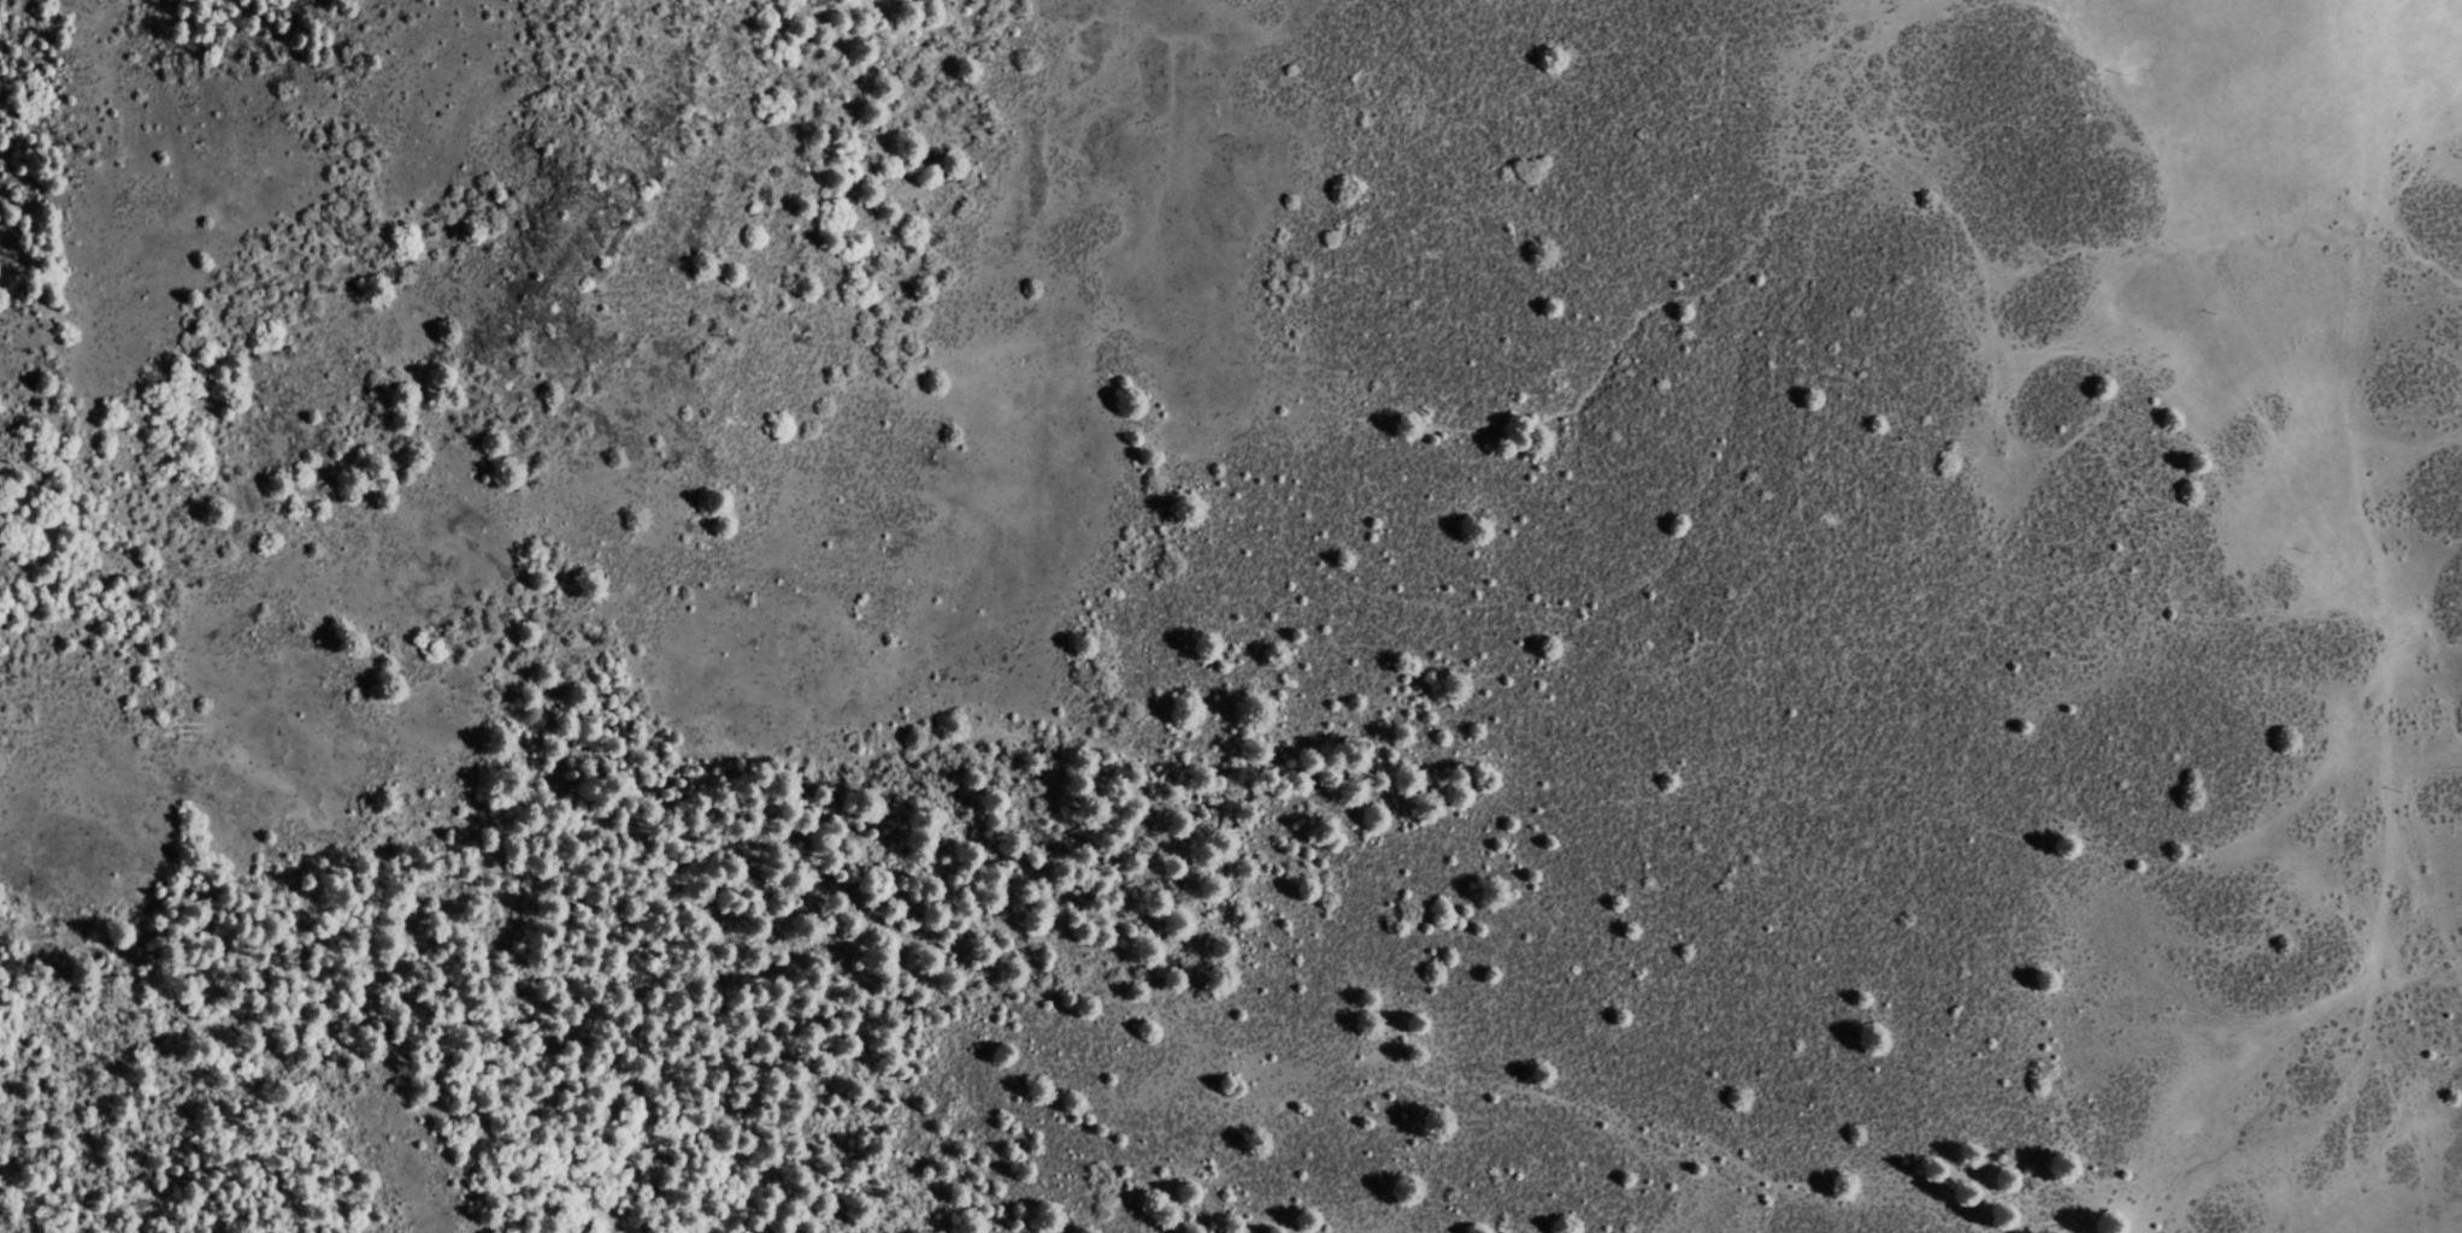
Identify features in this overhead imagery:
crop: (2390, 66)

